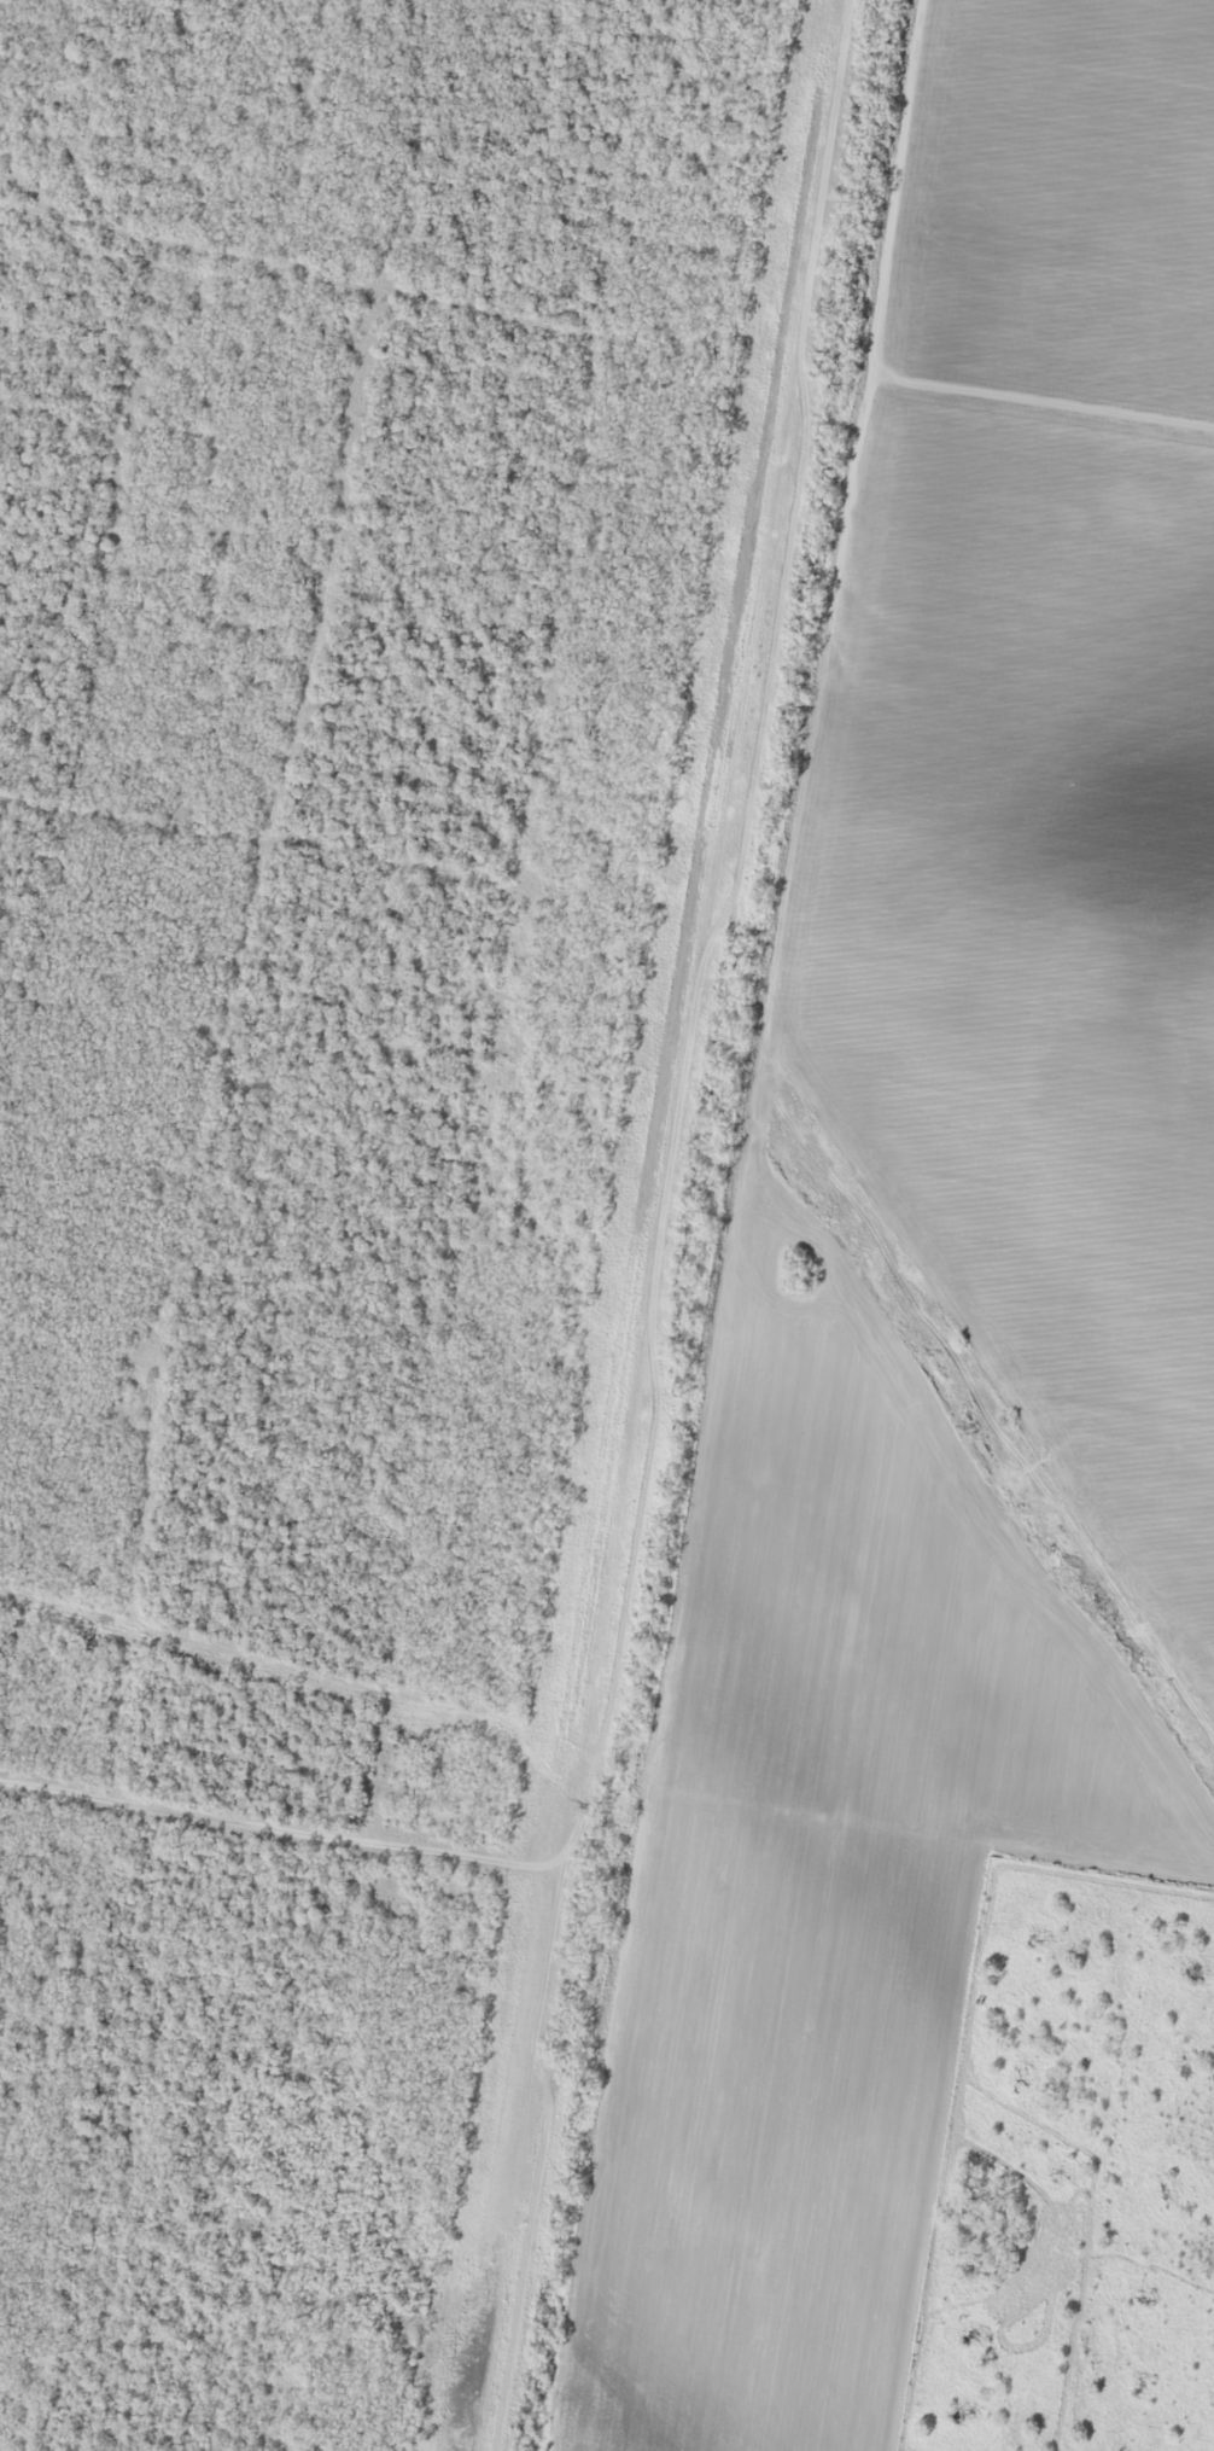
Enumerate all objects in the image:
road: (611, 1224)
railway: (685, 1224)
road: (261, 1828)

